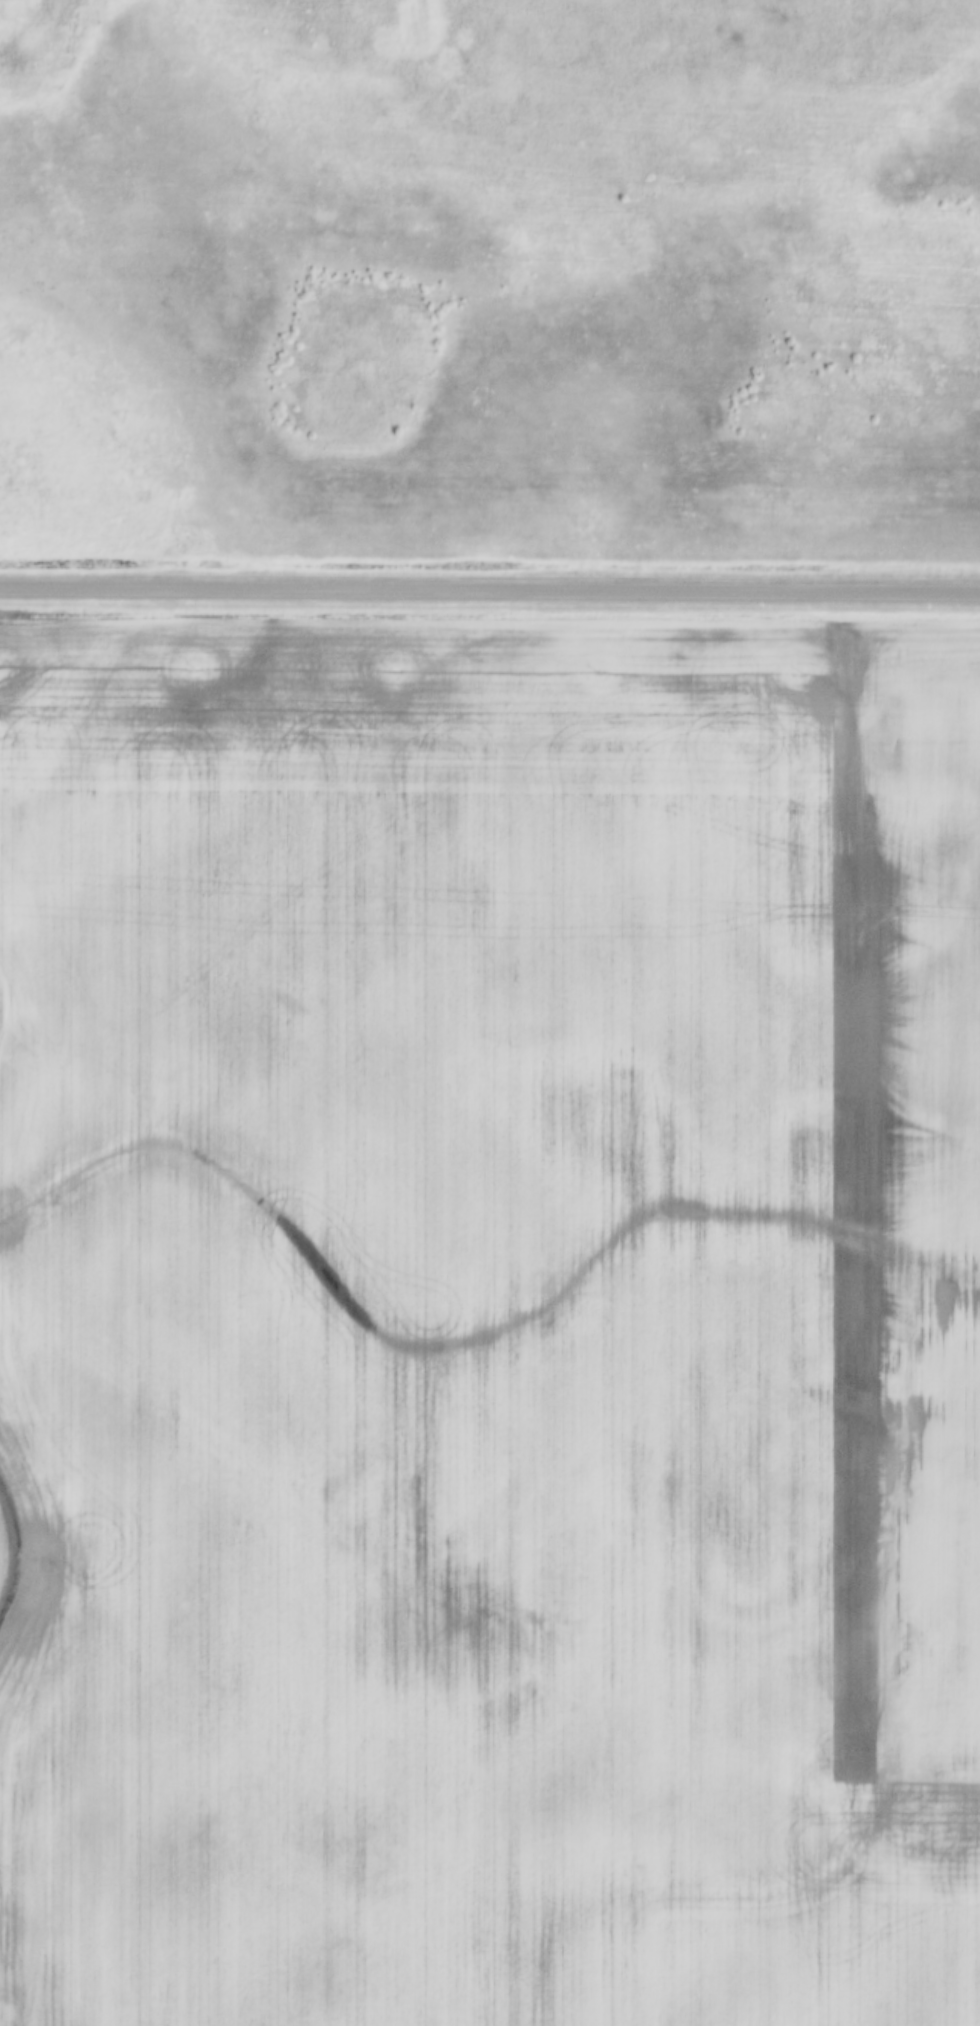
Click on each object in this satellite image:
road: (490, 593)

